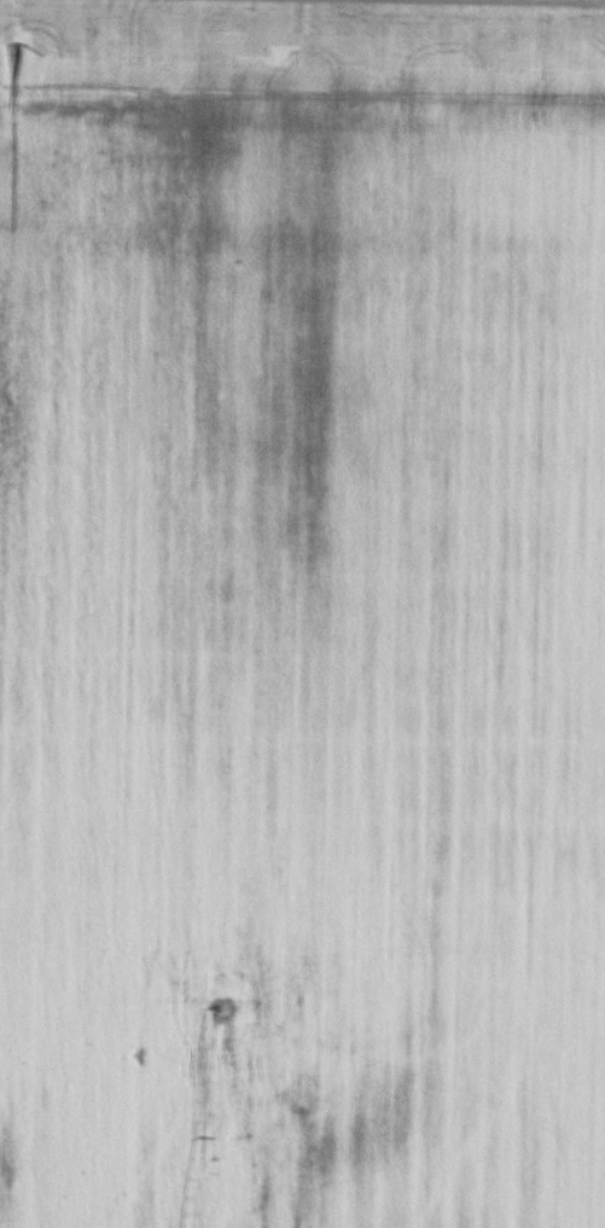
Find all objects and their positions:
crop: (302, 613)

